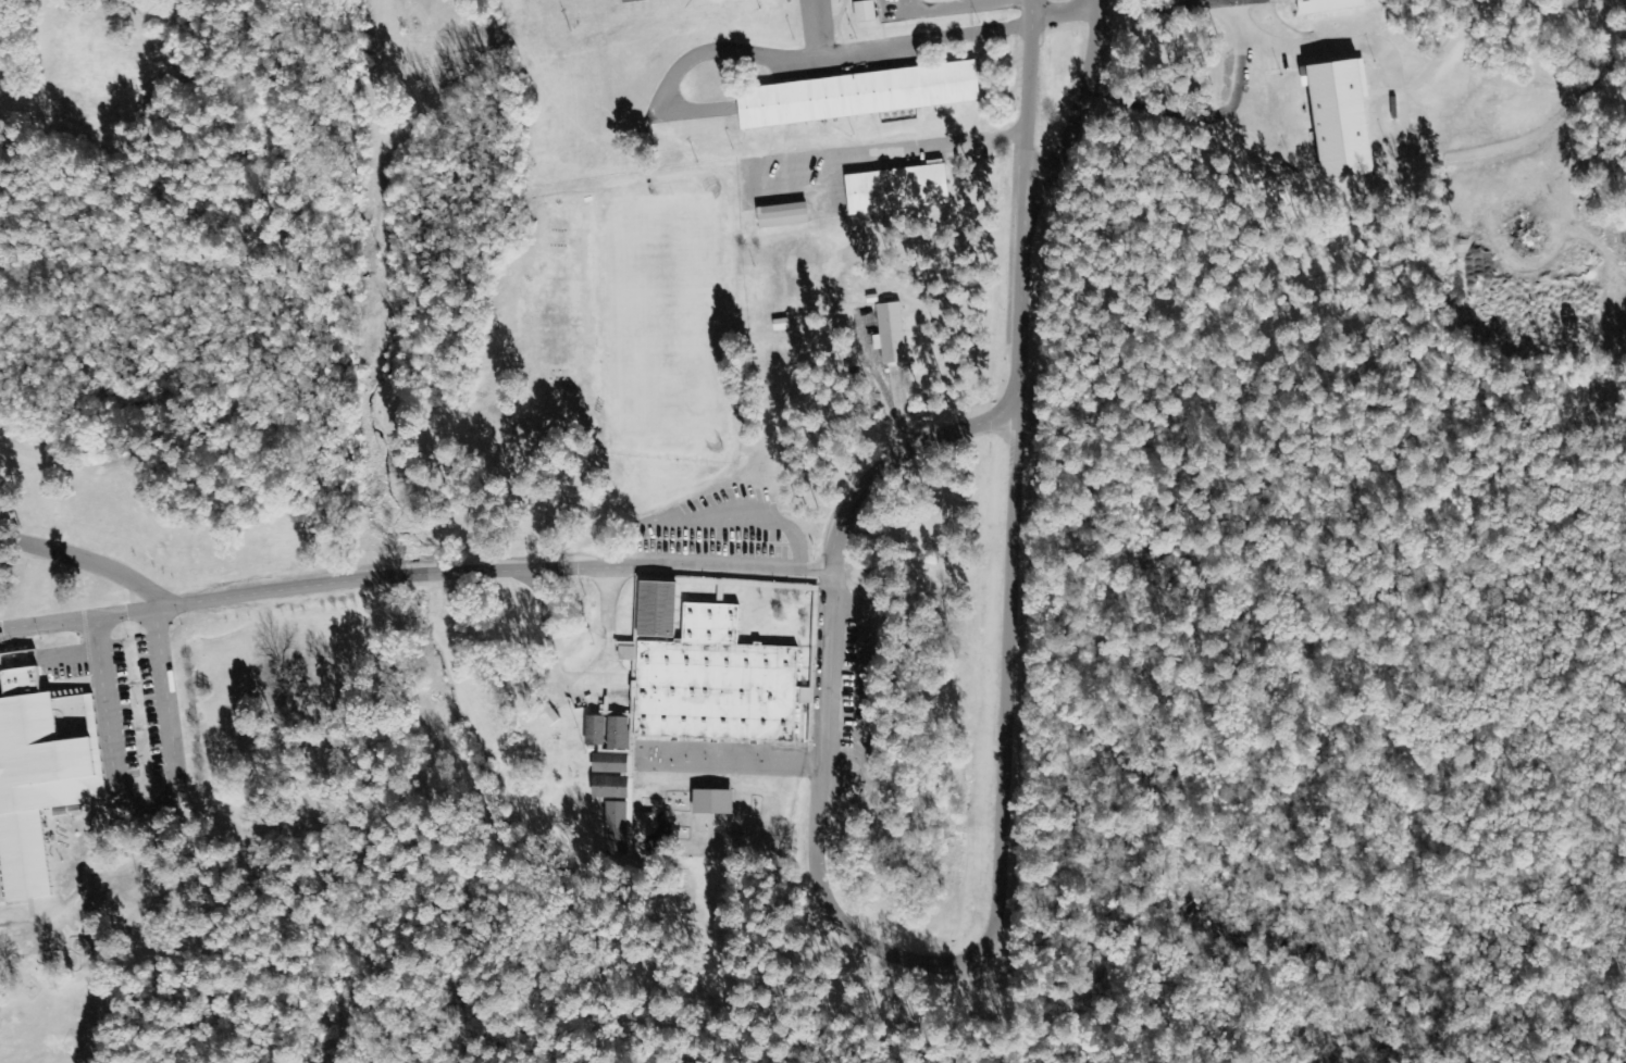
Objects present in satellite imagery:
building: (1327, 7)
road: (954, 8)
building: (865, 12)
stadium: (1255, 14)
road: (1060, 17)
road: (807, 29)
road: (786, 60)
building: (857, 96)
road: (1026, 102)
road: (1080, 105)
building: (1340, 121)
building: (897, 190)
building: (783, 216)
building: (871, 299)
building: (781, 324)
building: (892, 336)
road: (711, 516)
road: (84, 558)
road: (1014, 563)
road: (632, 566)
building: (657, 610)
road: (79, 614)
building: (716, 684)
road: (836, 696)
road: (869, 700)
building: (548, 715)
building: (595, 730)
building: (618, 734)
building: (610, 764)
building: (41, 767)
building: (610, 788)
building: (712, 802)
building: (615, 827)
road: (815, 851)

